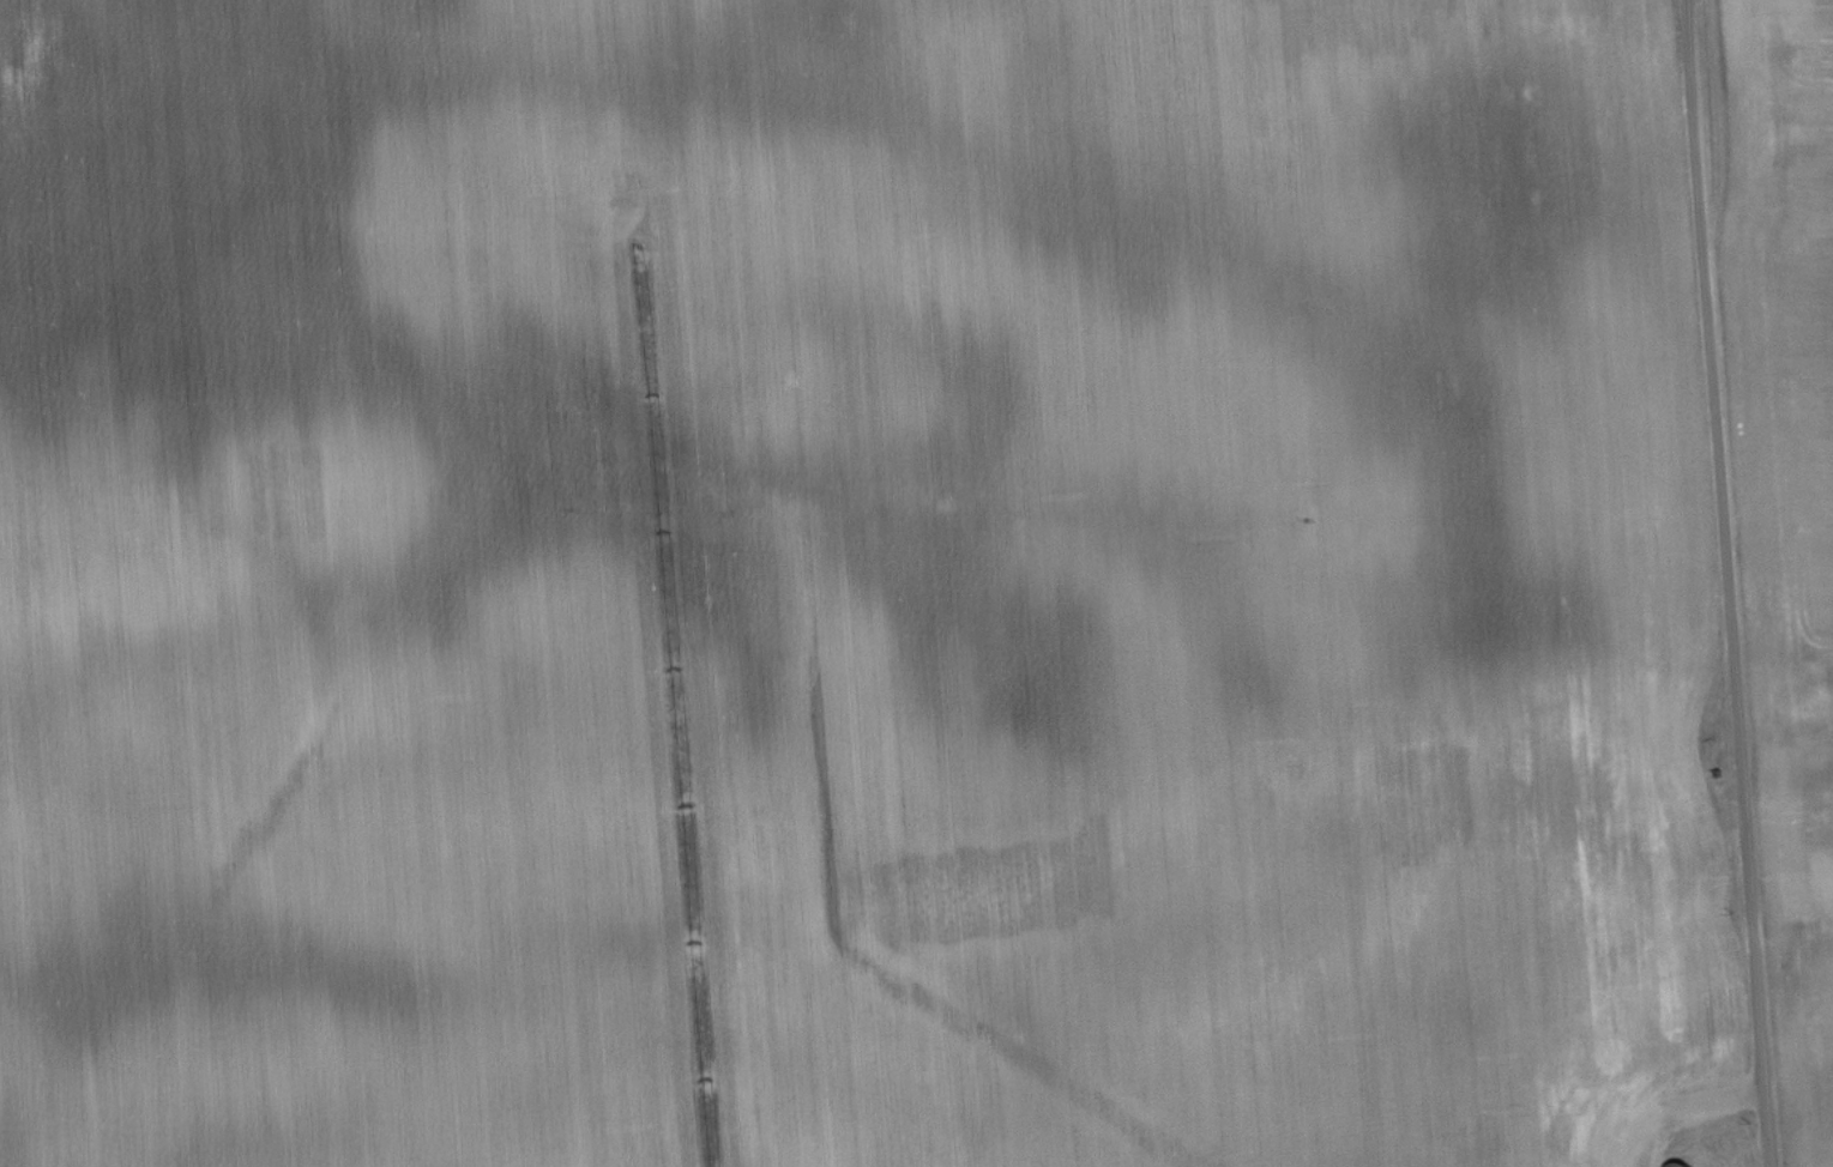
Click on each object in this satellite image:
road: (1729, 583)

